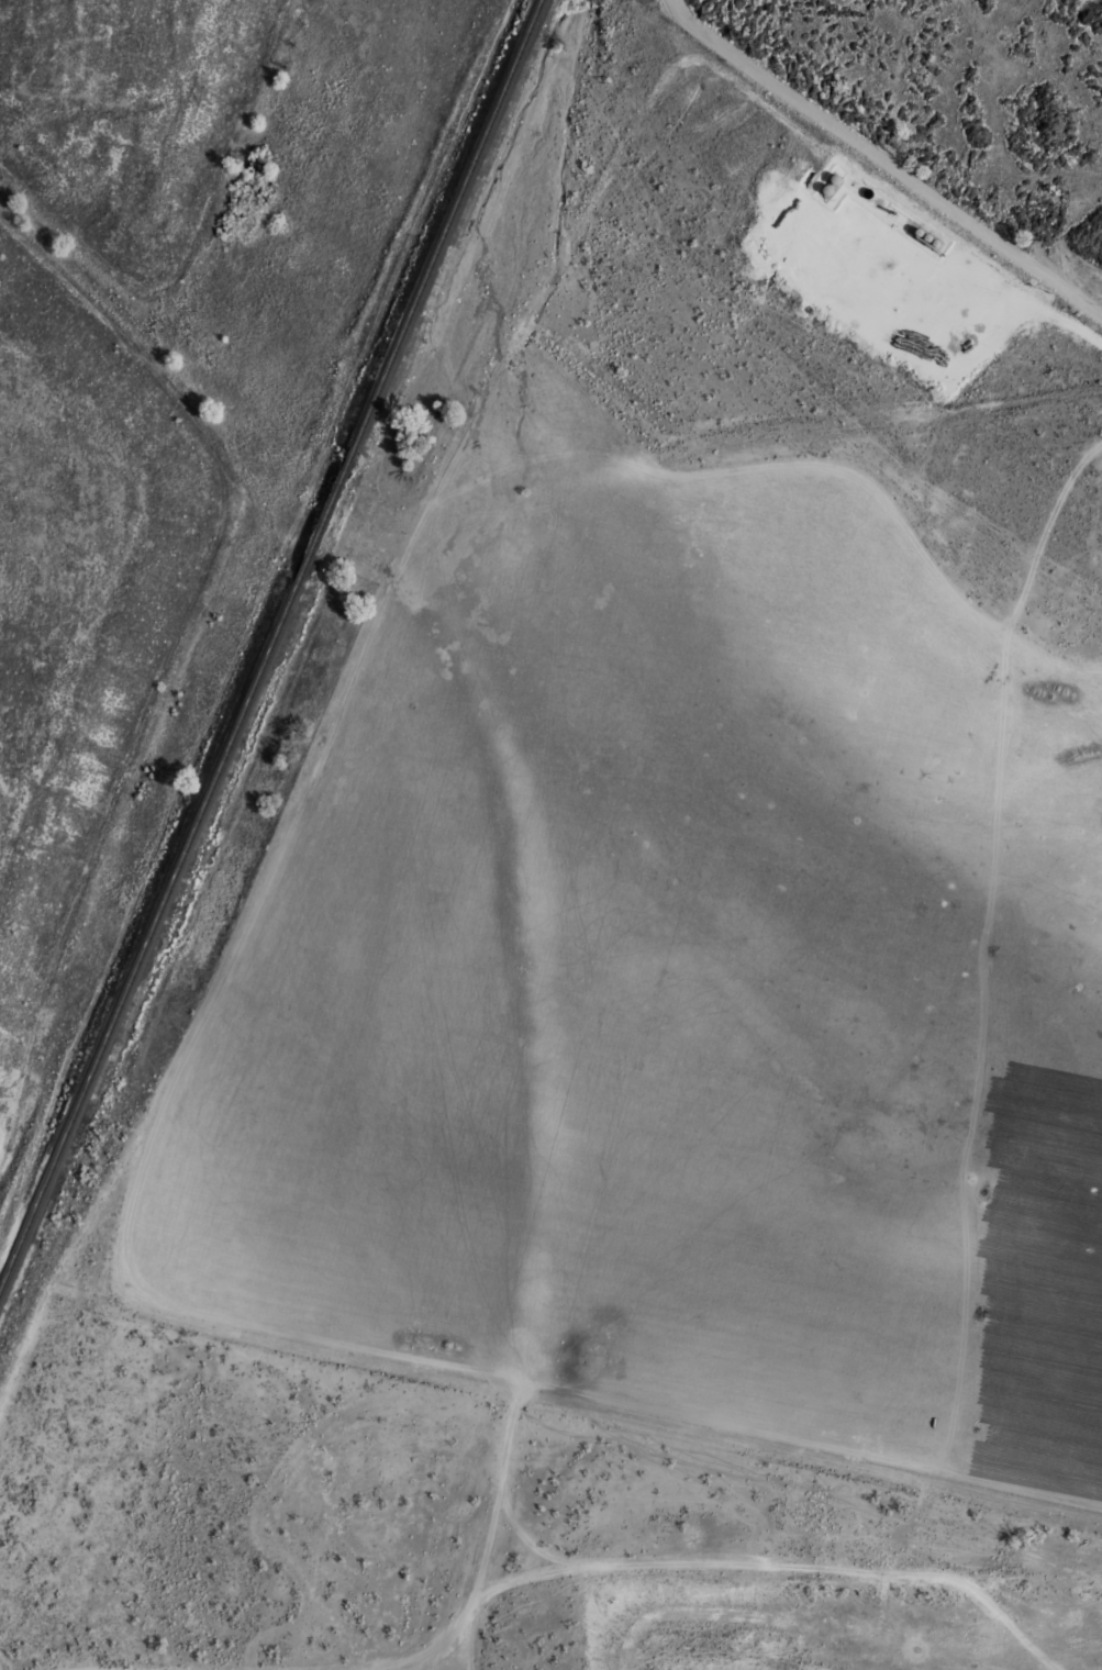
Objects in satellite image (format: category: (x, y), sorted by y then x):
railway: (449, 223)
road: (1028, 297)
railway: (331, 497)
road: (335, 680)
railway: (154, 920)
road: (964, 1145)
road: (48, 1288)
road: (501, 1487)
road: (993, 1490)
road: (490, 1540)
road: (714, 1559)
road: (692, 1612)
road: (465, 1648)

